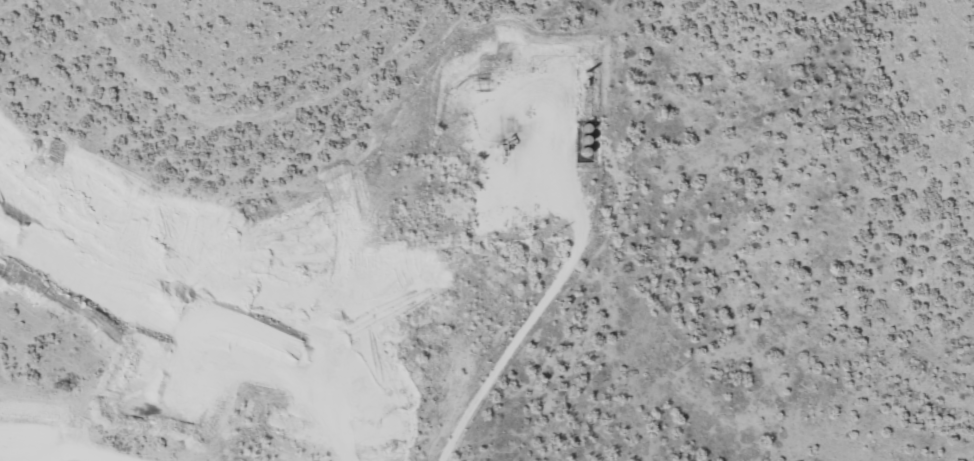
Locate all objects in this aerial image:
road: (48, 447)

